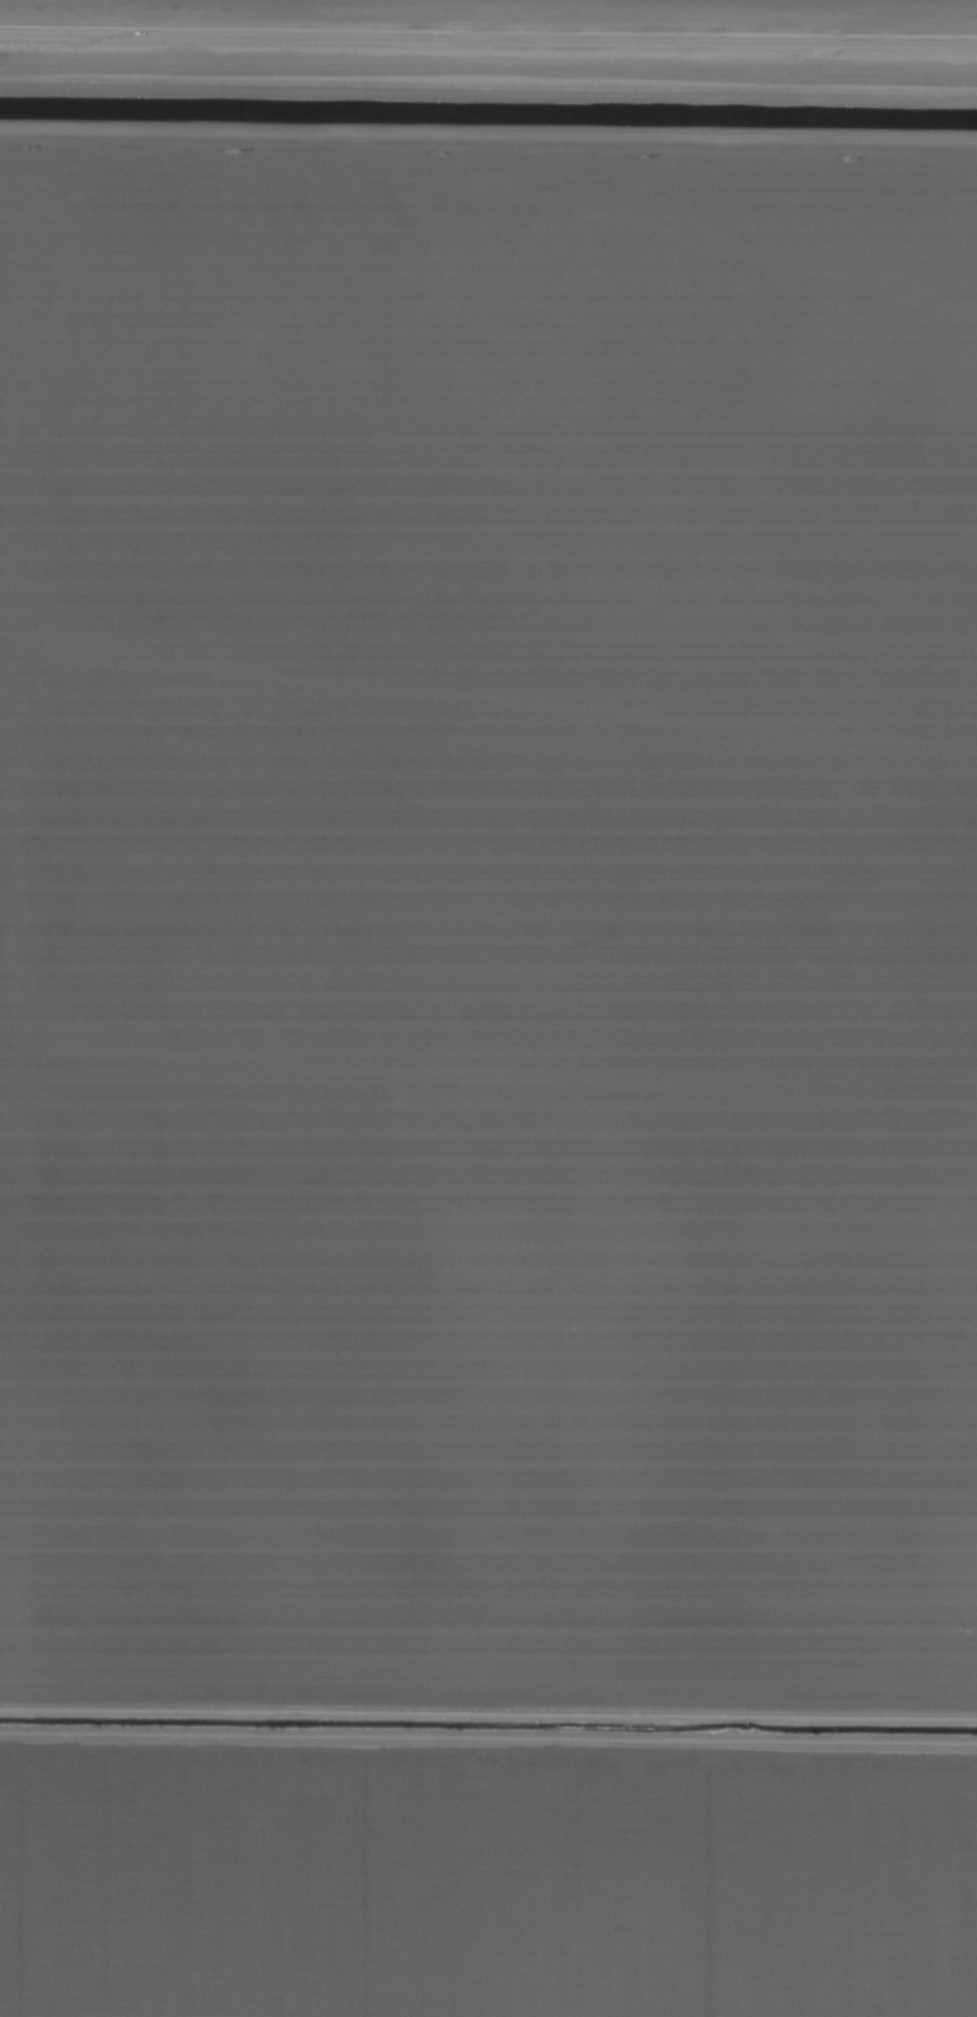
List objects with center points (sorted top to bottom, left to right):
road: (488, 35)
road: (488, 155)
crop: (488, 1008)

